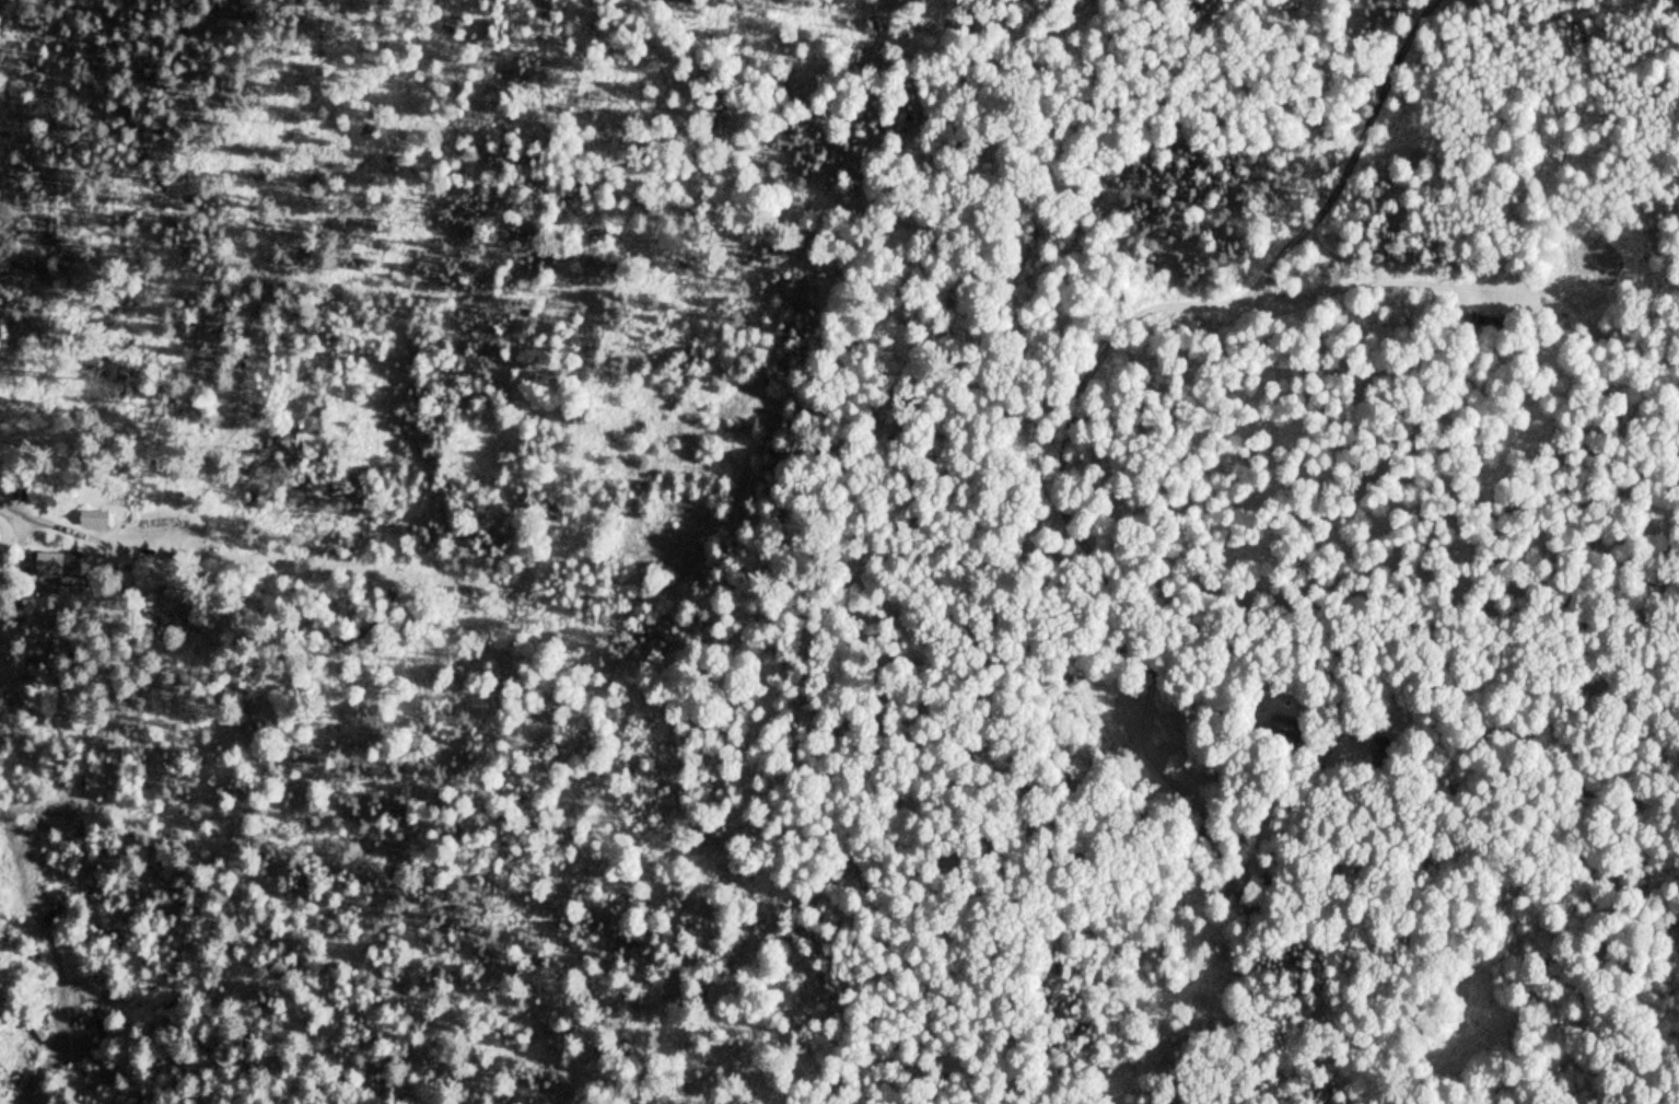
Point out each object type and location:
building: (1535, 301)
building: (1486, 319)
building: (90, 519)
road: (45, 521)
building: (57, 566)
building: (85, 1033)
building: (28, 1038)
road: (32, 1070)

